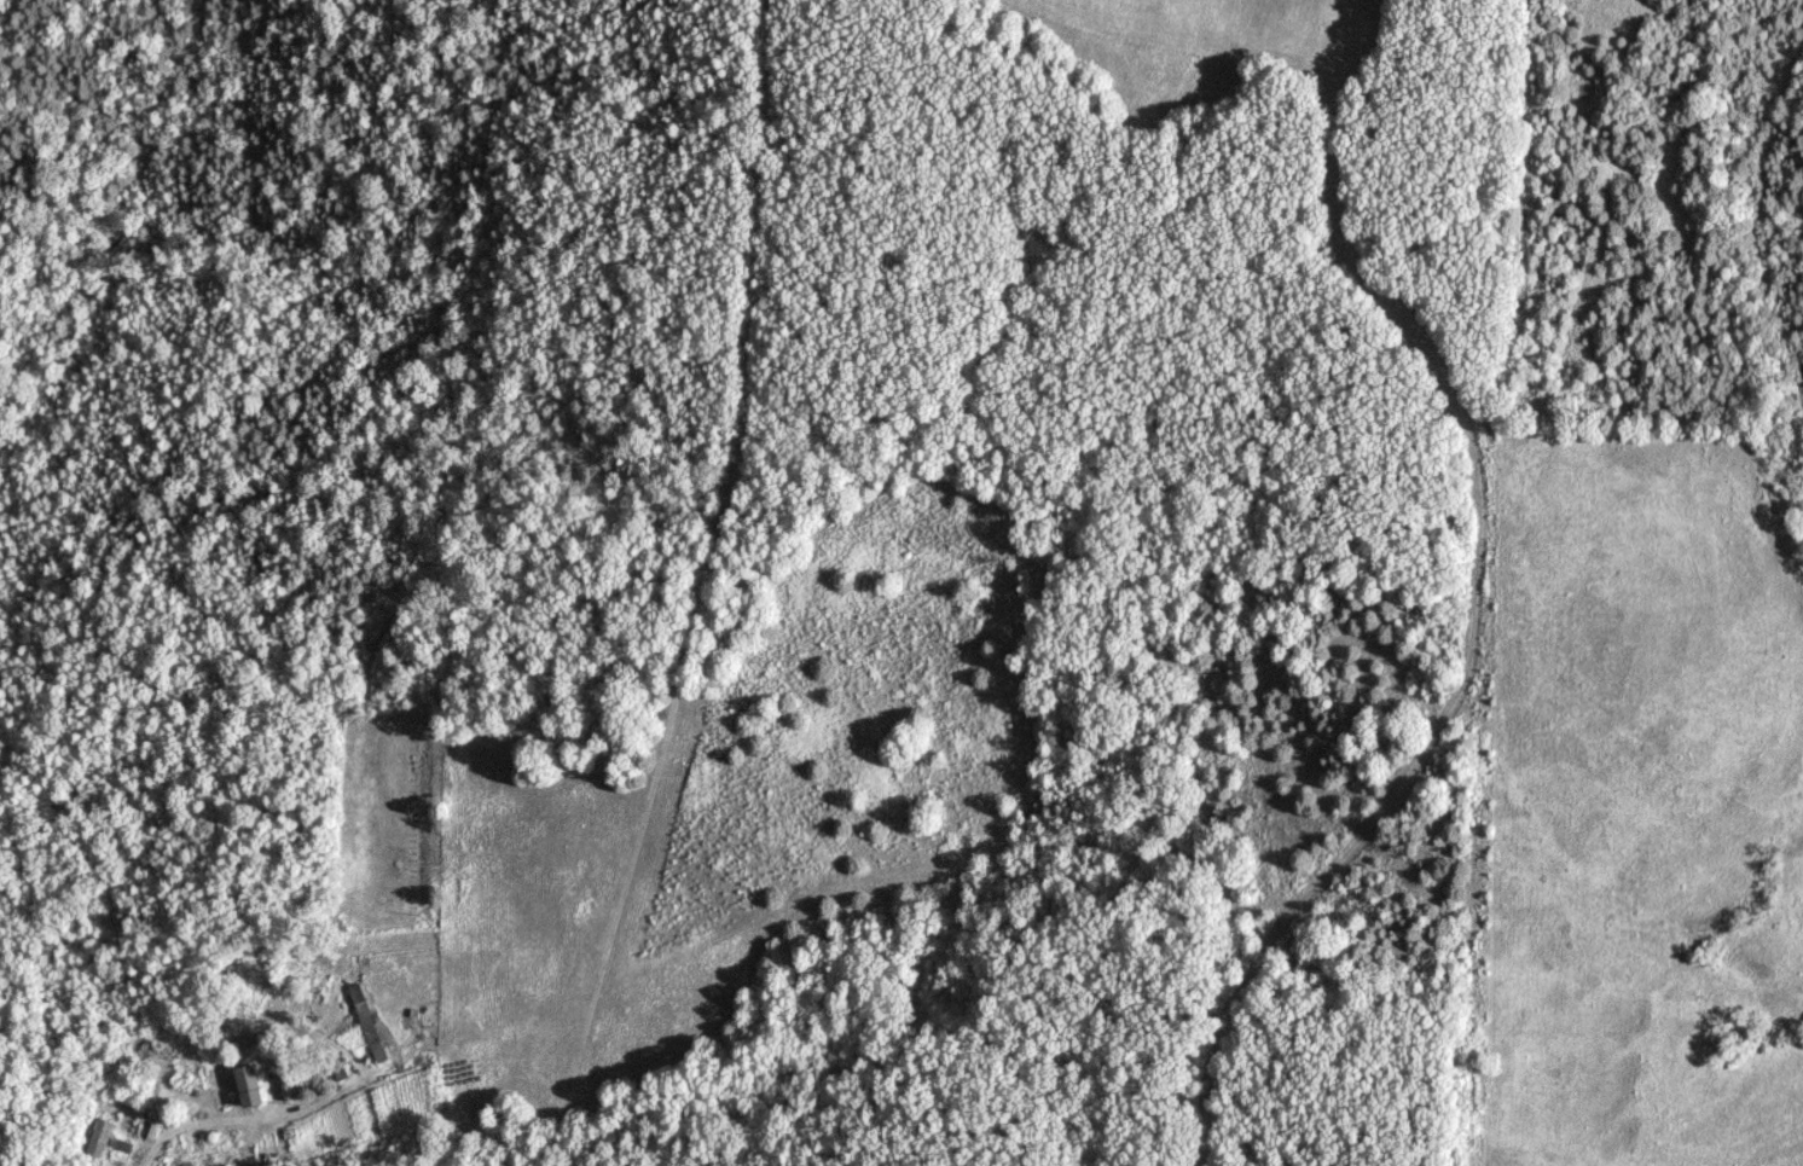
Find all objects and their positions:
building: (248, 1086)
road: (273, 1119)
building: (98, 1138)
building: (121, 1144)

